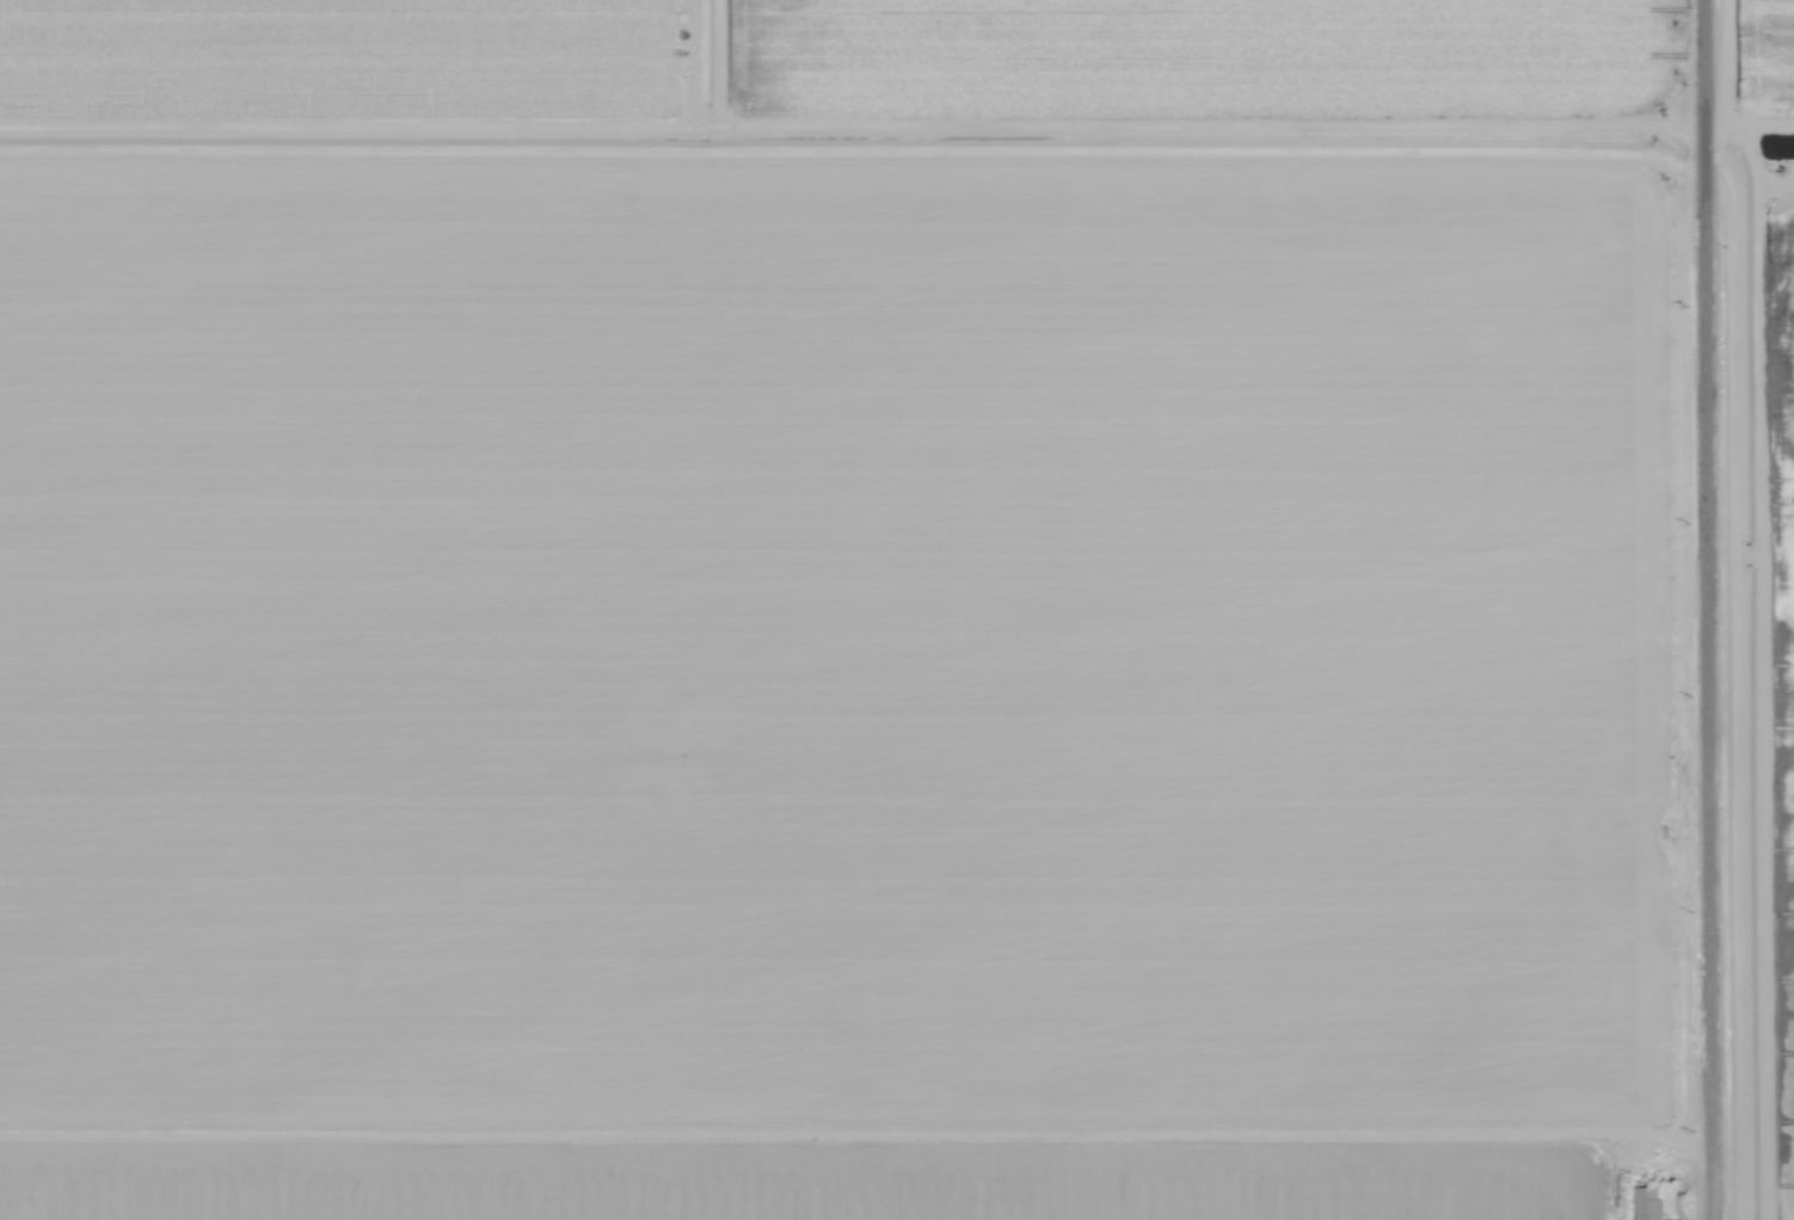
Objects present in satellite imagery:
road: (1709, 609)
crop: (897, 610)
building: (1647, 1203)

